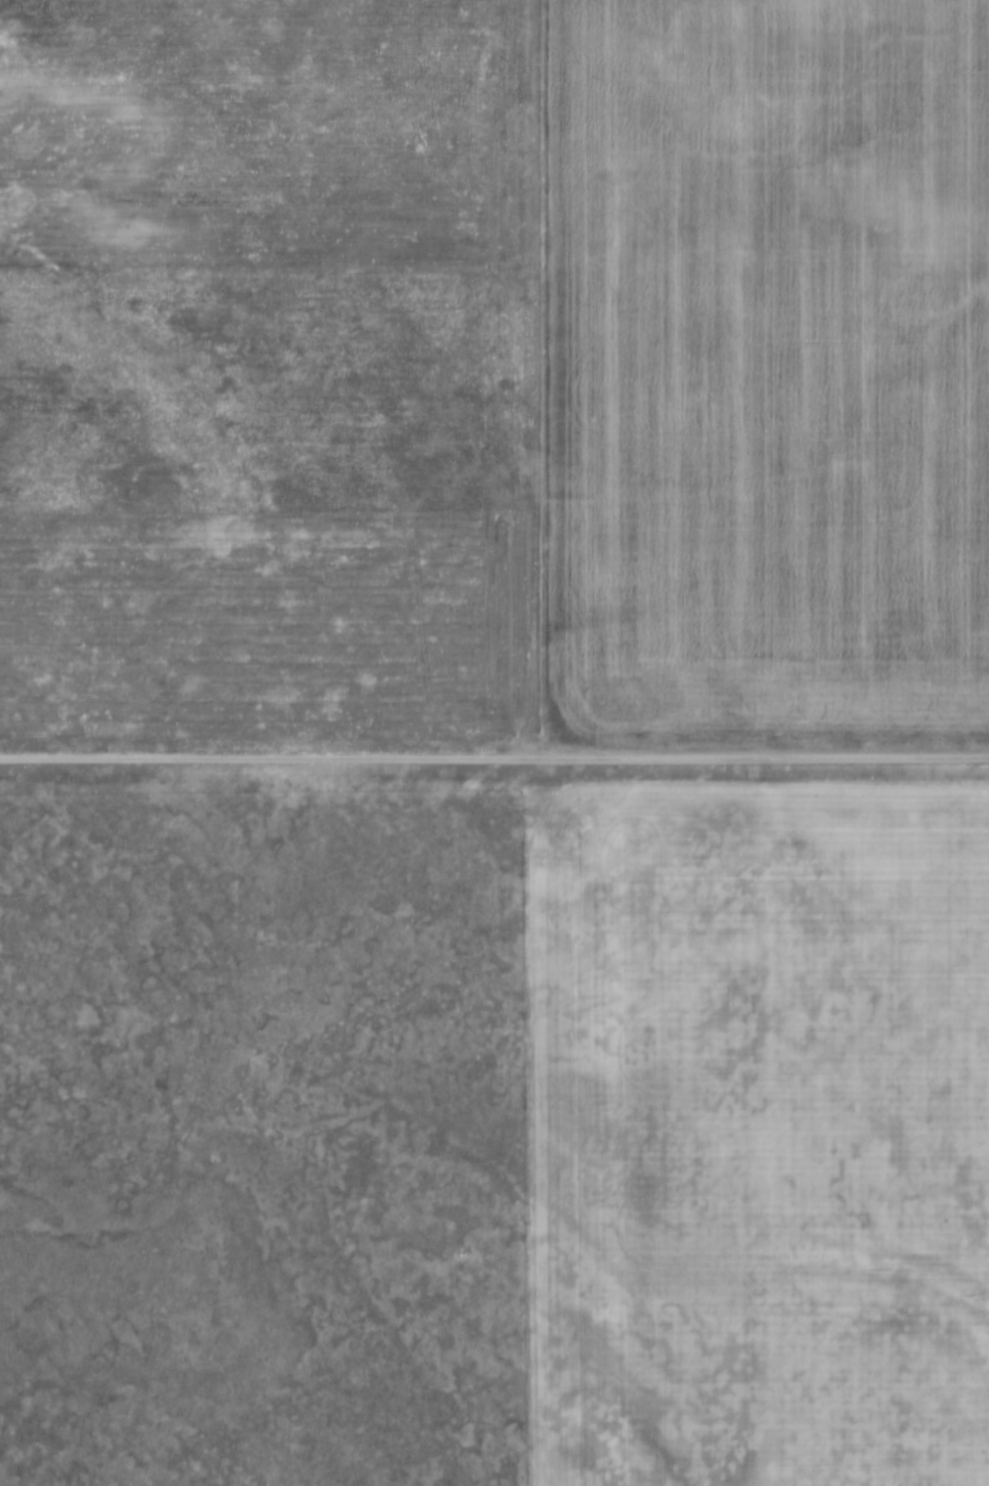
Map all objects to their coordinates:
road: (494, 764)

